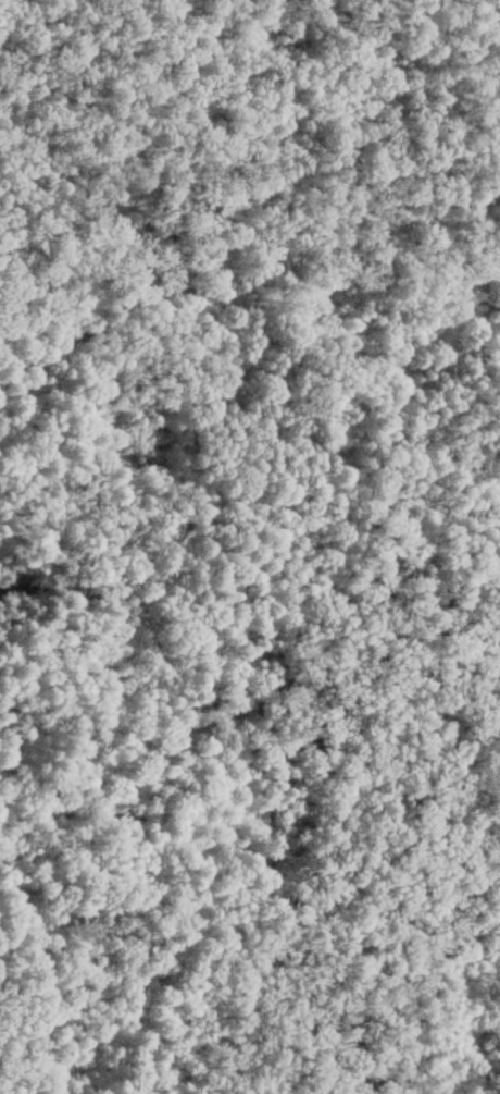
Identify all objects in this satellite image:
road: (89, 315)
road: (317, 376)
road: (479, 467)

